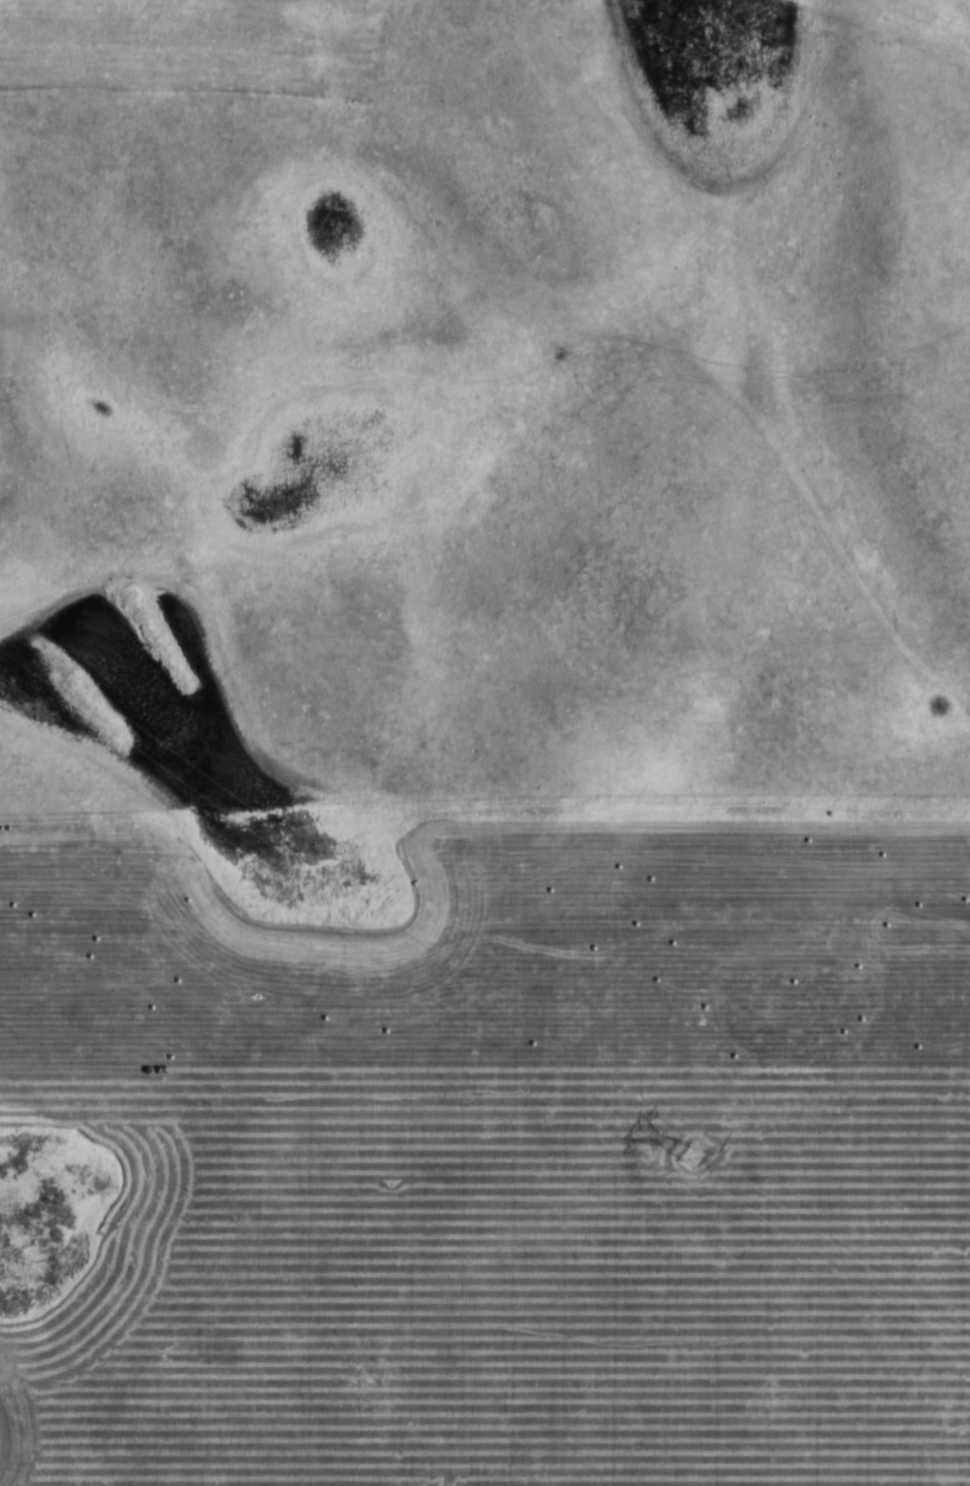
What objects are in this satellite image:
power tower: (690, 1155)

